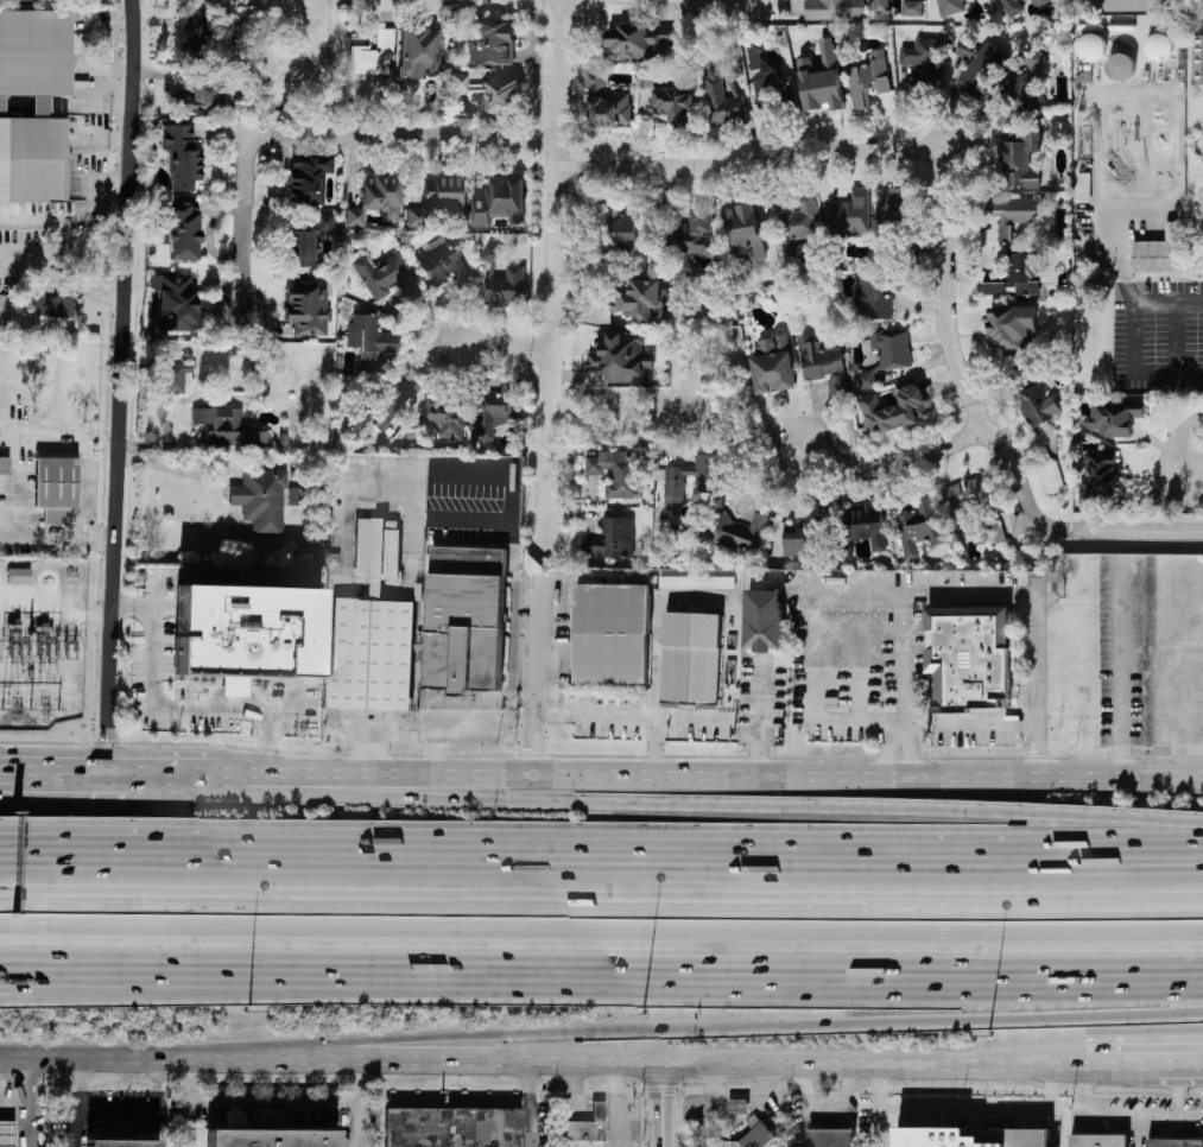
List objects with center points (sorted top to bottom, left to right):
building: (1040, 2)
building: (36, 5)
building: (881, 5)
building: (1121, 5)
building: (950, 6)
building: (912, 7)
building: (1012, 7)
building: (834, 9)
building: (192, 38)
building: (639, 39)
building: (492, 43)
building: (1093, 46)
building: (1159, 46)
building: (419, 53)
building: (372, 56)
building: (1033, 57)
building: (925, 58)
building: (1197, 59)
building: (976, 65)
building: (296, 66)
building: (821, 78)
building: (868, 80)
building: (593, 81)
building: (770, 82)
building: (489, 93)
building: (723, 94)
building: (202, 96)
building: (676, 103)
building: (33, 104)
building: (609, 109)
park: (1192, 133)
road: (404, 138)
building: (182, 157)
building: (1021, 158)
road: (753, 164)
building: (309, 180)
building: (442, 192)
road: (1193, 196)
building: (375, 199)
building: (499, 201)
building: (892, 205)
building: (1015, 213)
building: (849, 214)
road: (70, 217)
building: (414, 217)
building: (798, 222)
road: (245, 226)
building: (181, 229)
building: (616, 229)
building: (746, 232)
building: (695, 234)
building: (306, 242)
building: (492, 253)
building: (1157, 253)
building: (441, 262)
road: (556, 273)
building: (1018, 275)
building: (385, 277)
building: (506, 286)
building: (873, 297)
building: (648, 300)
building: (175, 302)
building: (306, 306)
building: (5, 309)
building: (52, 313)
building: (1009, 327)
parking lot: (1158, 334)
road: (1133, 335)
road: (1174, 335)
building: (368, 338)
road: (505, 344)
building: (892, 347)
building: (621, 356)
building: (823, 361)
building: (773, 362)
building: (867, 378)
building: (176, 379)
road: (121, 388)
building: (392, 403)
building: (1037, 405)
building: (498, 407)
building: (894, 408)
building: (445, 416)
building: (1115, 417)
road: (982, 424)
building: (226, 427)
road: (6, 436)
road: (48, 436)
road: (1180, 443)
road: (893, 461)
building: (4, 465)
road: (169, 468)
building: (616, 471)
building: (1097, 477)
building: (709, 483)
building: (55, 488)
building: (260, 500)
building: (962, 500)
road: (10, 508)
building: (867, 524)
building: (919, 524)
building: (995, 530)
building: (739, 532)
building: (612, 538)
building: (796, 540)
road: (65, 543)
building: (18, 576)
building: (697, 581)
road: (903, 595)
building: (461, 619)
building: (762, 619)
building: (612, 632)
building: (245, 634)
power substation: (40, 644)
road: (656, 648)
building: (372, 653)
road: (805, 653)
building: (968, 657)
building: (690, 658)
road: (1121, 665)
road: (1036, 673)
road: (534, 690)
road: (175, 711)
road: (629, 715)
road: (760, 718)
road: (970, 721)
road: (887, 752)
road: (911, 752)
road: (711, 775)
road: (65, 777)
road: (176, 777)
road: (711, 803)
road: (113, 854)
road: (113, 860)
road: (714, 867)
road: (601, 904)
road: (601, 929)
road: (601, 974)
road: (170, 980)
road: (670, 1031)
road: (360, 1054)
road: (68, 1058)
road: (190, 1059)
road: (1120, 1060)
road: (1179, 1060)
road: (609, 1065)
road: (190, 1081)
road: (23, 1082)
road: (359, 1083)
road: (1083, 1088)
road: (1178, 1088)
road: (81, 1102)
road: (274, 1102)
road: (11, 1105)
road: (528, 1105)
road: (664, 1105)
road: (968, 1109)
road: (146, 1111)
road: (1131, 1115)
road: (189, 1123)
road: (357, 1126)
road: (23, 1127)
building: (452, 1127)
building: (588, 1127)
building: (7, 1135)
building: (752, 1135)
building: (831, 1138)
building: (971, 1138)
building: (1098, 1140)
building: (271, 1141)
building: (1176, 1142)
building: (124, 1146)

